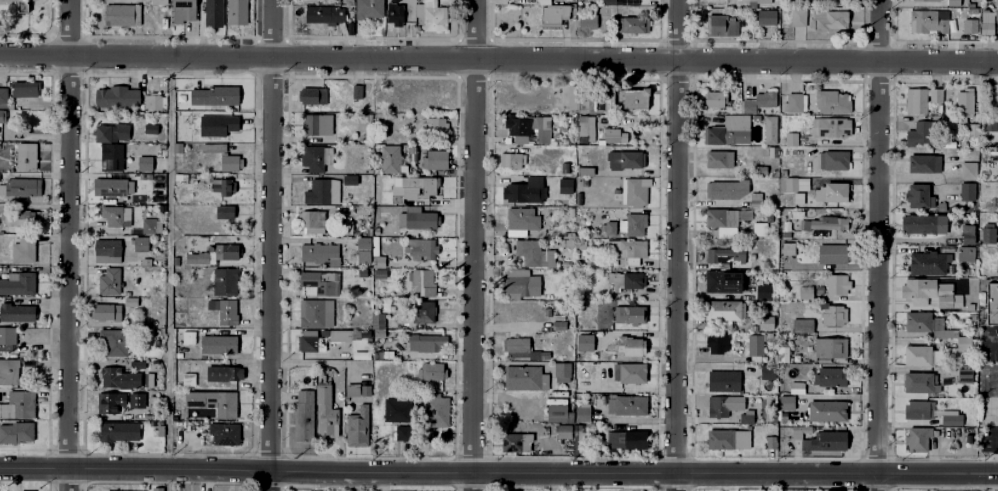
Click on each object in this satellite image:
building: (160, 0)
parking lot: (806, 0)
building: (925, 0)
building: (952, 0)
building: (760, 1)
building: (619, 2)
building: (20, 5)
building: (369, 8)
building: (184, 10)
building: (238, 10)
building: (325, 11)
building: (553, 11)
building: (215, 12)
building: (399, 12)
building: (432, 14)
building: (119, 15)
building: (764, 16)
building: (795, 17)
building: (829, 19)
building: (927, 19)
building: (996, 20)
building: (985, 21)
building: (587, 22)
building: (632, 22)
building: (719, 22)
building: (968, 24)
road: (499, 57)
road: (990, 80)
road: (994, 81)
building: (28, 87)
building: (356, 90)
building: (214, 94)
building: (312, 94)
building: (4, 95)
building: (118, 95)
building: (962, 96)
building: (634, 97)
building: (712, 97)
building: (919, 97)
building: (152, 98)
building: (603, 99)
building: (829, 99)
building: (758, 100)
building: (793, 100)
building: (581, 103)
building: (3, 116)
building: (32, 117)
building: (311, 122)
building: (434, 123)
building: (830, 125)
building: (584, 126)
building: (516, 127)
building: (151, 128)
building: (971, 128)
building: (728, 129)
building: (769, 129)
building: (112, 130)
building: (920, 132)
building: (612, 134)
building: (789, 137)
road: (993, 142)
building: (178, 147)
building: (213, 148)
building: (411, 151)
building: (112, 156)
building: (311, 156)
building: (514, 156)
building: (25, 157)
building: (433, 157)
building: (623, 157)
building: (389, 158)
building: (718, 158)
building: (828, 158)
building: (231, 160)
building: (146, 162)
building: (924, 164)
building: (743, 170)
building: (969, 171)
building: (181, 177)
building: (348, 178)
building: (403, 183)
building: (109, 185)
building: (224, 185)
building: (21, 187)
building: (535, 187)
building: (794, 187)
building: (428, 188)
building: (321, 189)
building: (633, 190)
building: (830, 190)
building: (733, 191)
building: (968, 192)
building: (917, 194)
building: (187, 209)
building: (360, 209)
building: (226, 212)
building: (570, 212)
building: (116, 214)
building: (715, 216)
building: (309, 217)
building: (413, 217)
building: (19, 219)
building: (519, 220)
building: (632, 223)
building: (825, 224)
building: (923, 224)
building: (150, 225)
building: (610, 226)
building: (757, 227)
building: (785, 228)
building: (966, 233)
building: (986, 234)
building: (141, 242)
building: (362, 242)
road: (68, 245)
road: (271, 245)
road: (473, 245)
road: (677, 245)
road: (877, 245)
building: (787, 247)
building: (106, 248)
building: (420, 248)
building: (227, 250)
building: (629, 250)
building: (22, 251)
building: (530, 251)
building: (834, 251)
building: (318, 252)
building: (964, 252)
building: (717, 254)
building: (198, 256)
building: (925, 261)
road: (170, 273)
building: (378, 273)
building: (628, 278)
building: (417, 279)
building: (110, 280)
building: (225, 280)
building: (318, 280)
building: (724, 281)
building: (20, 282)
building: (518, 282)
building: (835, 283)
building: (803, 290)
building: (762, 291)
building: (928, 291)
building: (383, 304)
building: (581, 305)
building: (993, 305)
building: (224, 309)
building: (721, 309)
building: (107, 310)
building: (314, 310)
building: (422, 310)
building: (546, 311)
building: (830, 312)
building: (15, 313)
building: (628, 313)
building: (180, 318)
building: (377, 319)
building: (557, 321)
building: (924, 322)
building: (765, 323)
building: (799, 324)
building: (7, 336)
building: (188, 338)
building: (322, 339)
building: (115, 341)
building: (424, 341)
building: (582, 341)
building: (714, 341)
building: (963, 343)
building: (628, 344)
building: (753, 344)
building: (219, 345)
building: (828, 346)
building: (520, 349)
building: (383, 353)
building: (786, 354)
building: (916, 354)
building: (137, 363)
building: (560, 368)
building: (433, 369)
building: (626, 369)
building: (8, 371)
building: (224, 372)
building: (767, 372)
building: (962, 375)
building: (827, 376)
building: (148, 377)
building: (189, 377)
building: (524, 377)
building: (121, 378)
building: (918, 380)
building: (724, 381)
building: (794, 386)
building: (364, 389)
building: (192, 397)
building: (780, 400)
building: (222, 402)
building: (111, 403)
building: (22, 404)
building: (625, 404)
building: (716, 405)
building: (395, 408)
building: (917, 408)
building: (829, 409)
building: (434, 410)
building: (556, 410)
building: (325, 411)
building: (581, 411)
building: (302, 414)
building: (743, 417)
building: (950, 418)
building: (355, 426)
building: (160, 429)
building: (17, 430)
building: (119, 430)
building: (224, 431)
building: (798, 431)
building: (402, 433)
building: (563, 433)
building: (725, 437)
building: (916, 437)
building: (628, 438)
building: (823, 440)
building: (514, 441)
road: (498, 473)
road: (380, 481)
building: (157, 488)
building: (28, 490)
building: (124, 490)
building: (631, 490)
building: (829, 490)
building: (838, 490)

